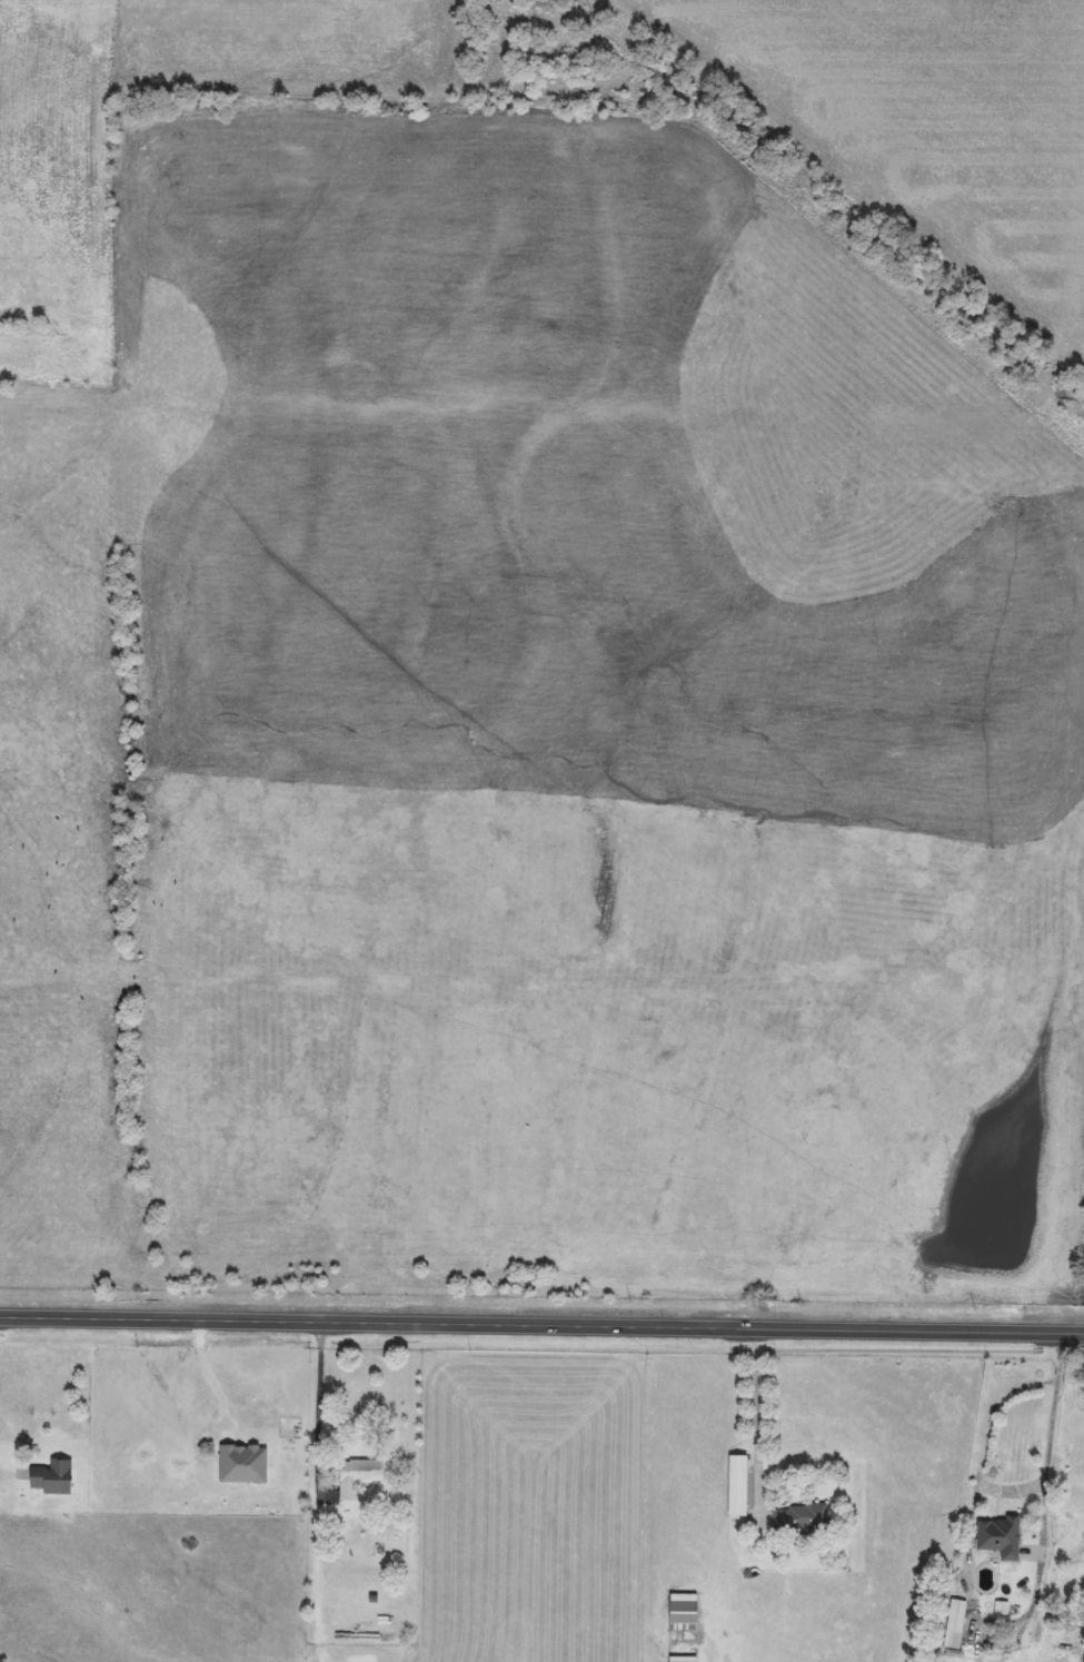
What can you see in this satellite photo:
road: (541, 1326)
road: (209, 1376)
road: (320, 1415)
road: (757, 1426)
road: (1052, 1441)
road: (9, 1473)
building: (358, 1475)
building: (52, 1476)
building: (737, 1485)
building: (800, 1518)
building: (1000, 1536)
road: (317, 1584)
building: (683, 1612)
building: (955, 1624)

